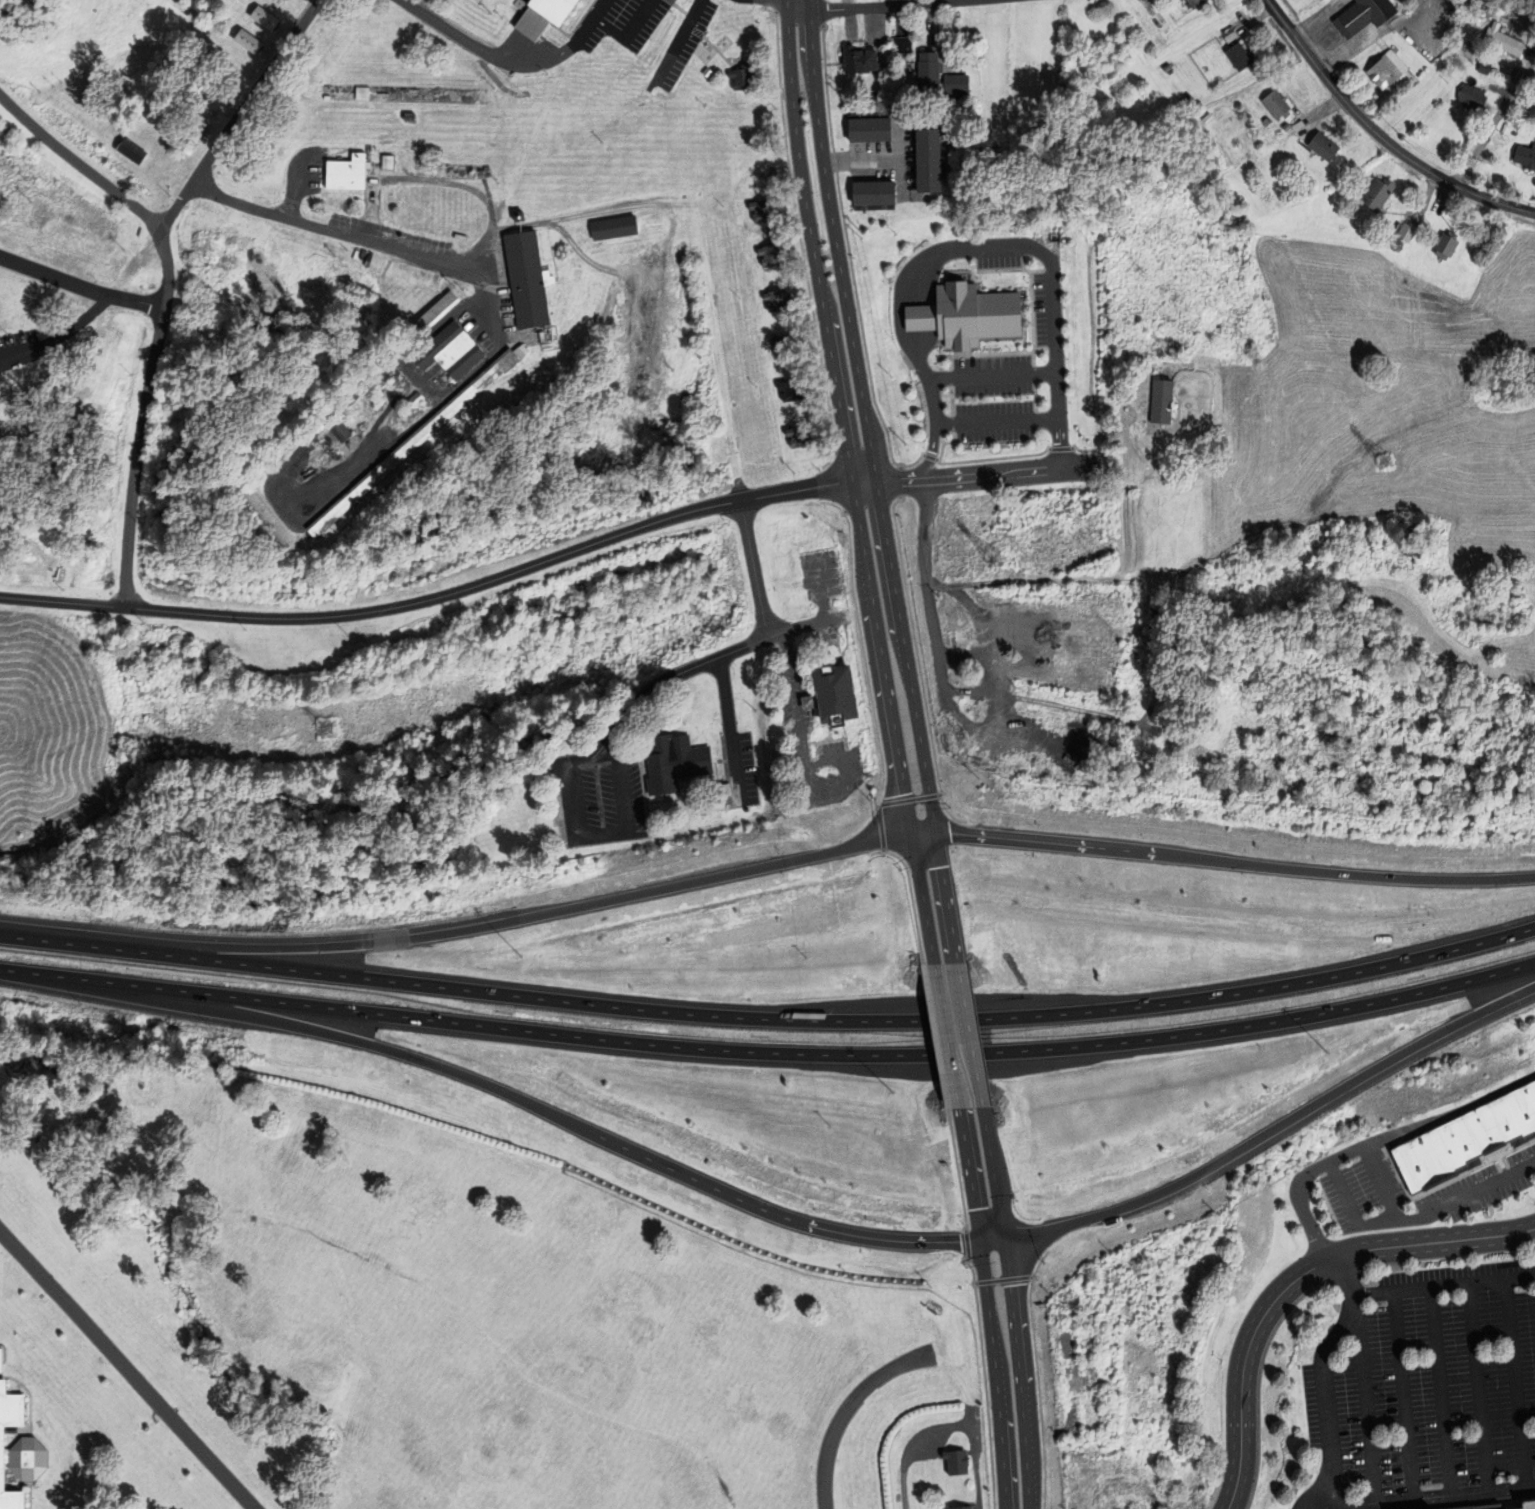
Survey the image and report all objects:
building: (1194, 2)
road: (873, 5)
road: (597, 11)
building: (1366, 15)
building: (545, 16)
building: (265, 18)
road: (627, 31)
building: (249, 41)
building: (1510, 43)
building: (1532, 43)
building: (902, 44)
building: (1241, 56)
road: (496, 57)
building: (860, 60)
building: (1167, 67)
building: (1485, 67)
building: (1388, 69)
building: (1518, 74)
building: (743, 77)
building: (941, 77)
building: (362, 93)
building: (1475, 97)
building: (1189, 98)
building: (1279, 104)
road: (240, 116)
building: (410, 117)
building: (1267, 121)
building: (1288, 126)
building: (872, 127)
building: (590, 129)
road: (1379, 135)
building: (191, 139)
building: (1326, 146)
building: (132, 151)
building: (1527, 157)
building: (387, 161)
building: (933, 161)
building: (348, 173)
building: (1380, 193)
building: (876, 196)
building: (763, 210)
building: (520, 216)
building: (615, 227)
building: (1408, 233)
building: (460, 236)
road: (811, 241)
road: (834, 241)
road: (1005, 244)
building: (1448, 246)
building: (772, 254)
road: (444, 262)
building: (528, 279)
building: (778, 301)
road: (91, 311)
building: (436, 312)
building: (968, 314)
road: (162, 315)
road: (921, 317)
building: (908, 322)
building: (786, 345)
parking lot: (916, 351)
building: (451, 352)
road: (991, 375)
building: (16, 384)
road: (62, 387)
building: (793, 390)
building: (416, 400)
building: (1164, 400)
road: (996, 421)
building: (340, 431)
crop: (1401, 433)
building: (801, 436)
building: (413, 444)
road: (931, 453)
power tower: (1383, 465)
road: (955, 478)
road: (274, 484)
building: (313, 495)
building: (269, 517)
power tower: (1002, 559)
road: (1047, 584)
road: (432, 598)
parking lot: (825, 634)
road: (746, 645)
building: (1178, 650)
power tower: (642, 651)
road: (904, 655)
road: (881, 657)
parking lot: (804, 666)
road: (795, 691)
building: (839, 693)
building: (1187, 699)
building: (812, 701)
parking lot: (812, 718)
road: (729, 729)
power tower: (323, 730)
road: (614, 742)
parking lot: (816, 751)
building: (675, 761)
parking lot: (740, 768)
parking lot: (826, 770)
parking lot: (826, 770)
building: (724, 790)
parking lot: (597, 797)
building: (722, 807)
parking lot: (832, 813)
parking lot: (832, 813)
road: (848, 813)
traffic signals: (934, 829)
traffic signals: (911, 833)
road: (1233, 863)
road: (945, 895)
road: (922, 898)
road: (470, 925)
road: (769, 1018)
road: (969, 1034)
road: (945, 1035)
road: (769, 1052)
road: (504, 1094)
road: (1266, 1138)
building: (1466, 1139)
road: (1375, 1141)
parking lot: (1371, 1162)
road: (1380, 1184)
road: (1417, 1218)
building: (1178, 1235)
traffic signals: (1006, 1239)
traffic signals: (978, 1240)
building: (1208, 1262)
road: (1295, 1279)
building: (1038, 1283)
road: (1443, 1285)
road: (986, 1307)
road: (1012, 1307)
road: (1348, 1312)
building: (1141, 1356)
road: (124, 1373)
building: (1056, 1378)
road: (1513, 1383)
road: (1476, 1387)
parking lot: (1426, 1390)
road: (1440, 1391)
road: (1402, 1395)
road: (1364, 1403)
road: (845, 1411)
building: (4, 1424)
road: (1327, 1435)
road: (904, 1444)
road: (973, 1461)
building: (953, 1464)
road: (1421, 1497)
building: (1089, 1500)
building: (1527, 1505)
building: (1482, 1507)
building: (958, 1508)

